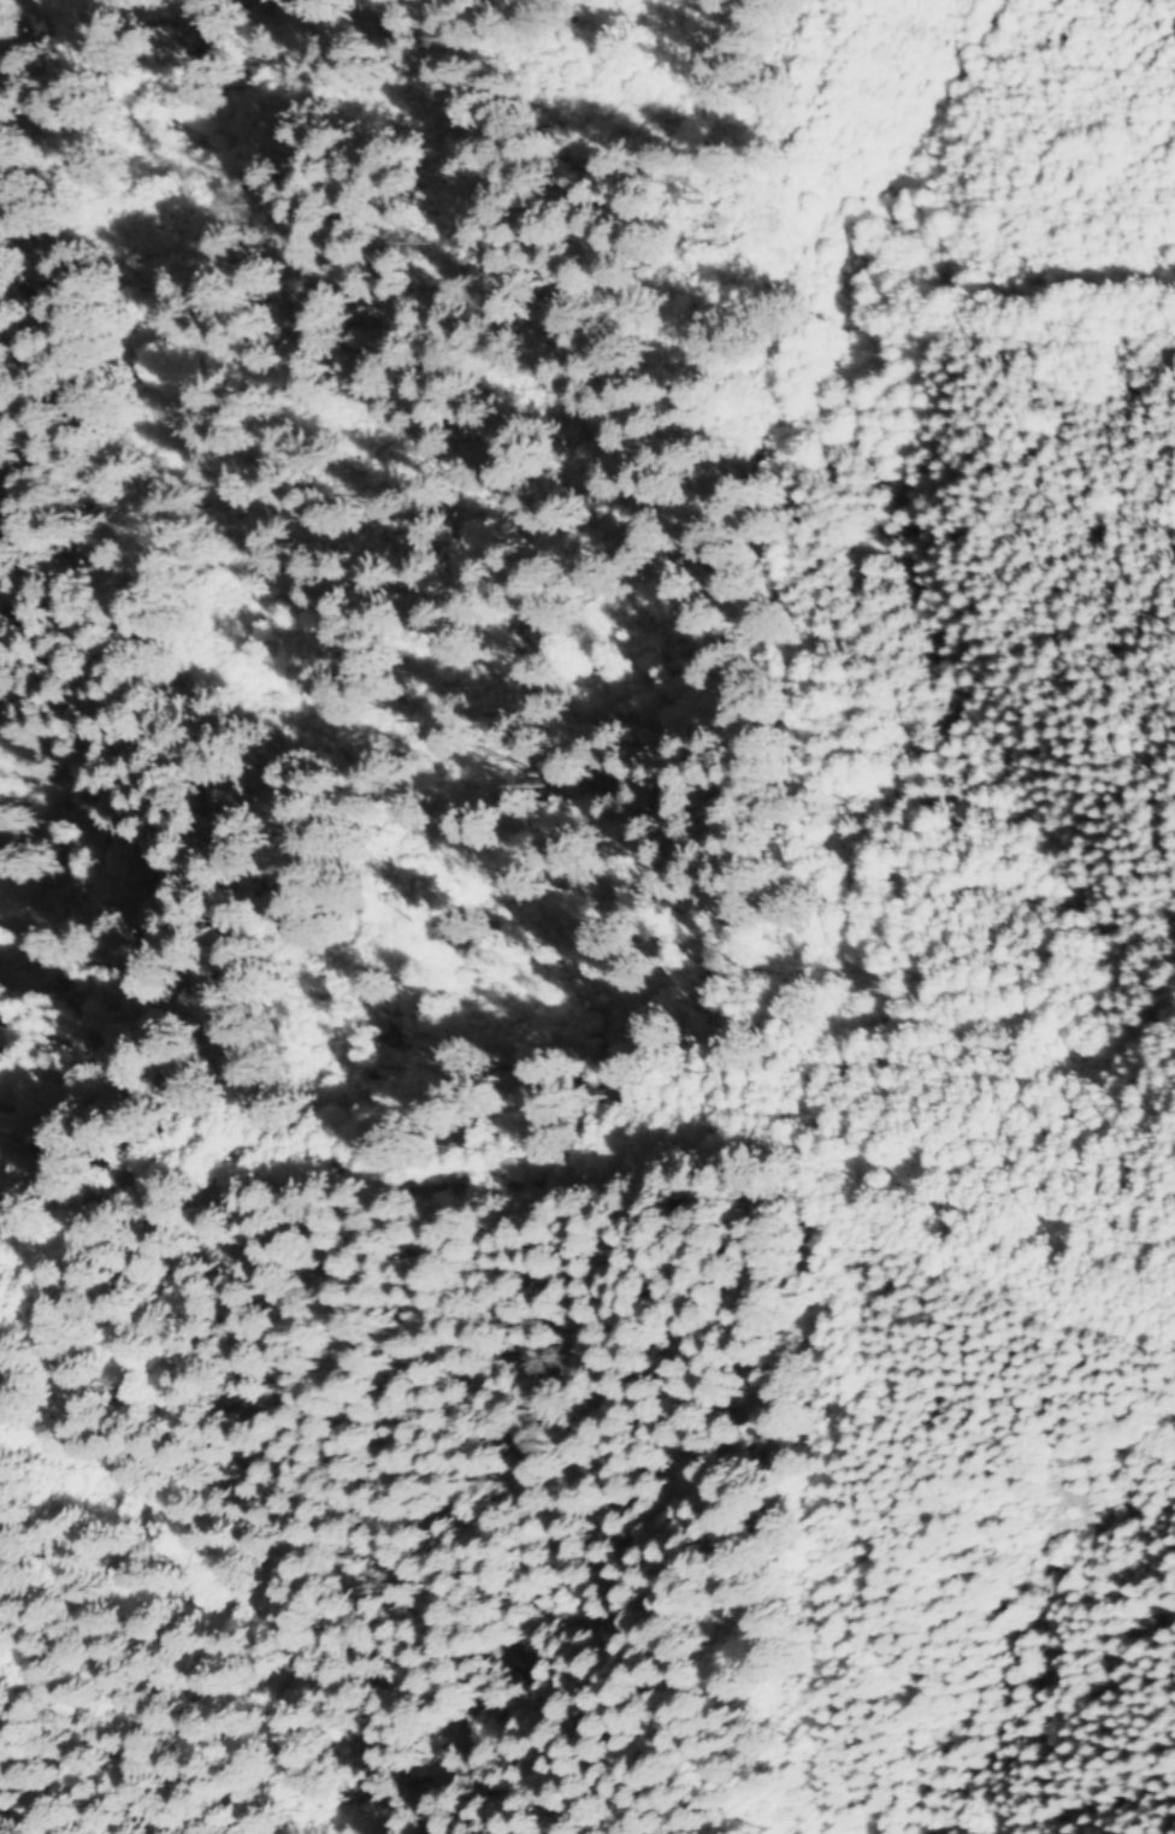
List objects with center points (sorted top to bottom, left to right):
road: (581, 1117)

